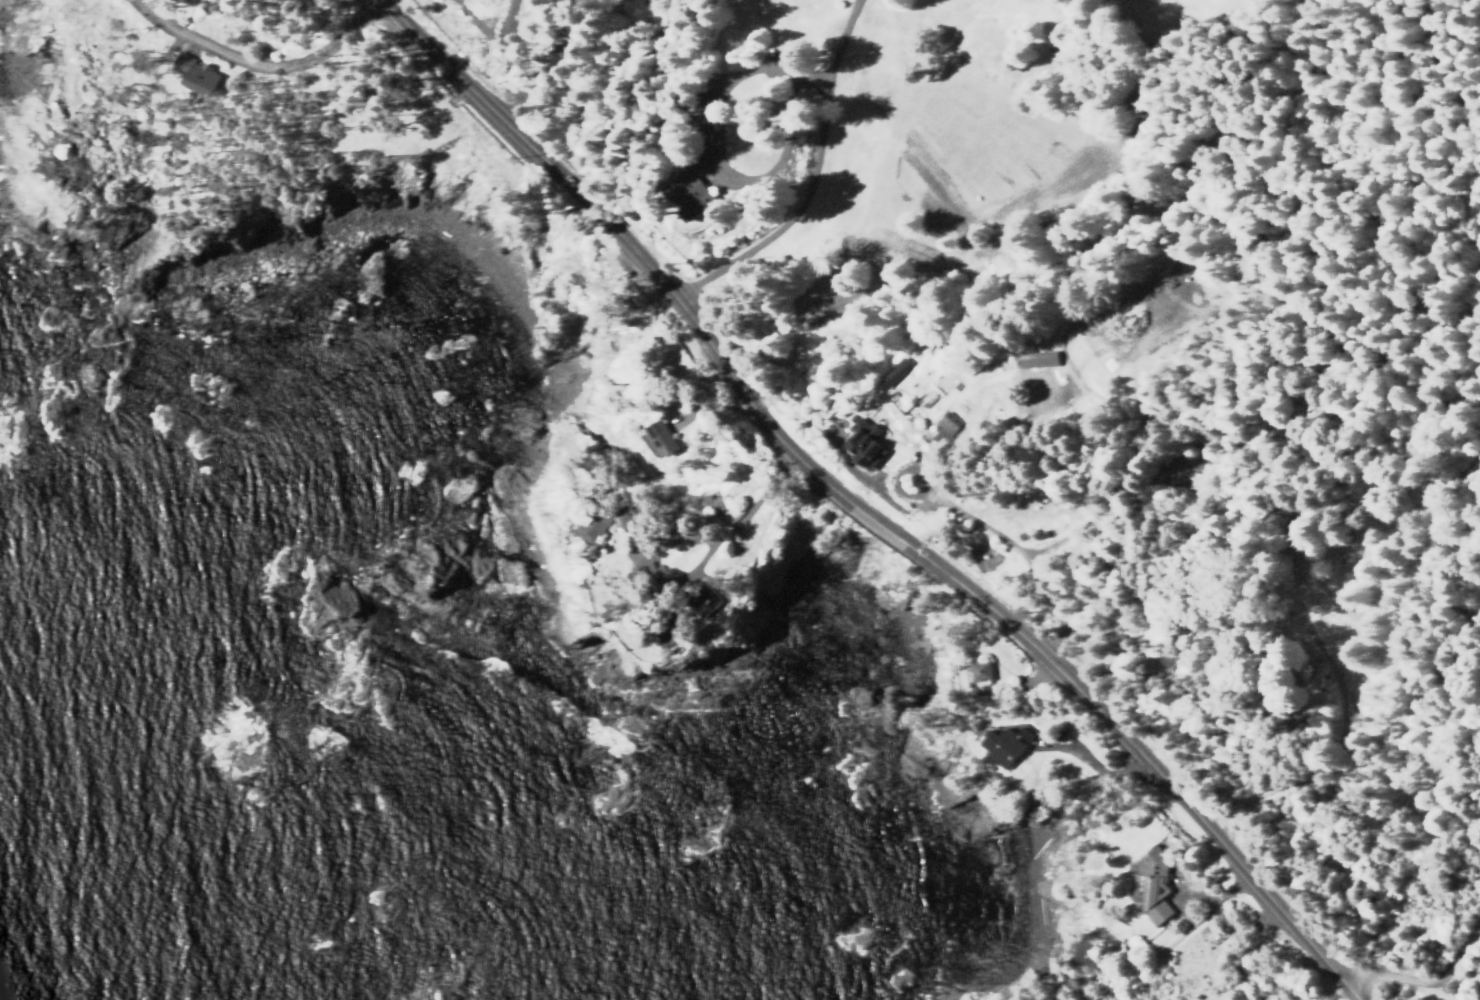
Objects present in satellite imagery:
building: (198, 74)
building: (689, 195)
building: (1037, 359)
building: (894, 372)
building: (642, 428)
building: (946, 428)
building: (661, 440)
building: (865, 443)
road: (864, 511)
building: (625, 516)
building: (596, 525)
building: (977, 672)
building: (1007, 745)
building: (1154, 885)
road: (1426, 982)

